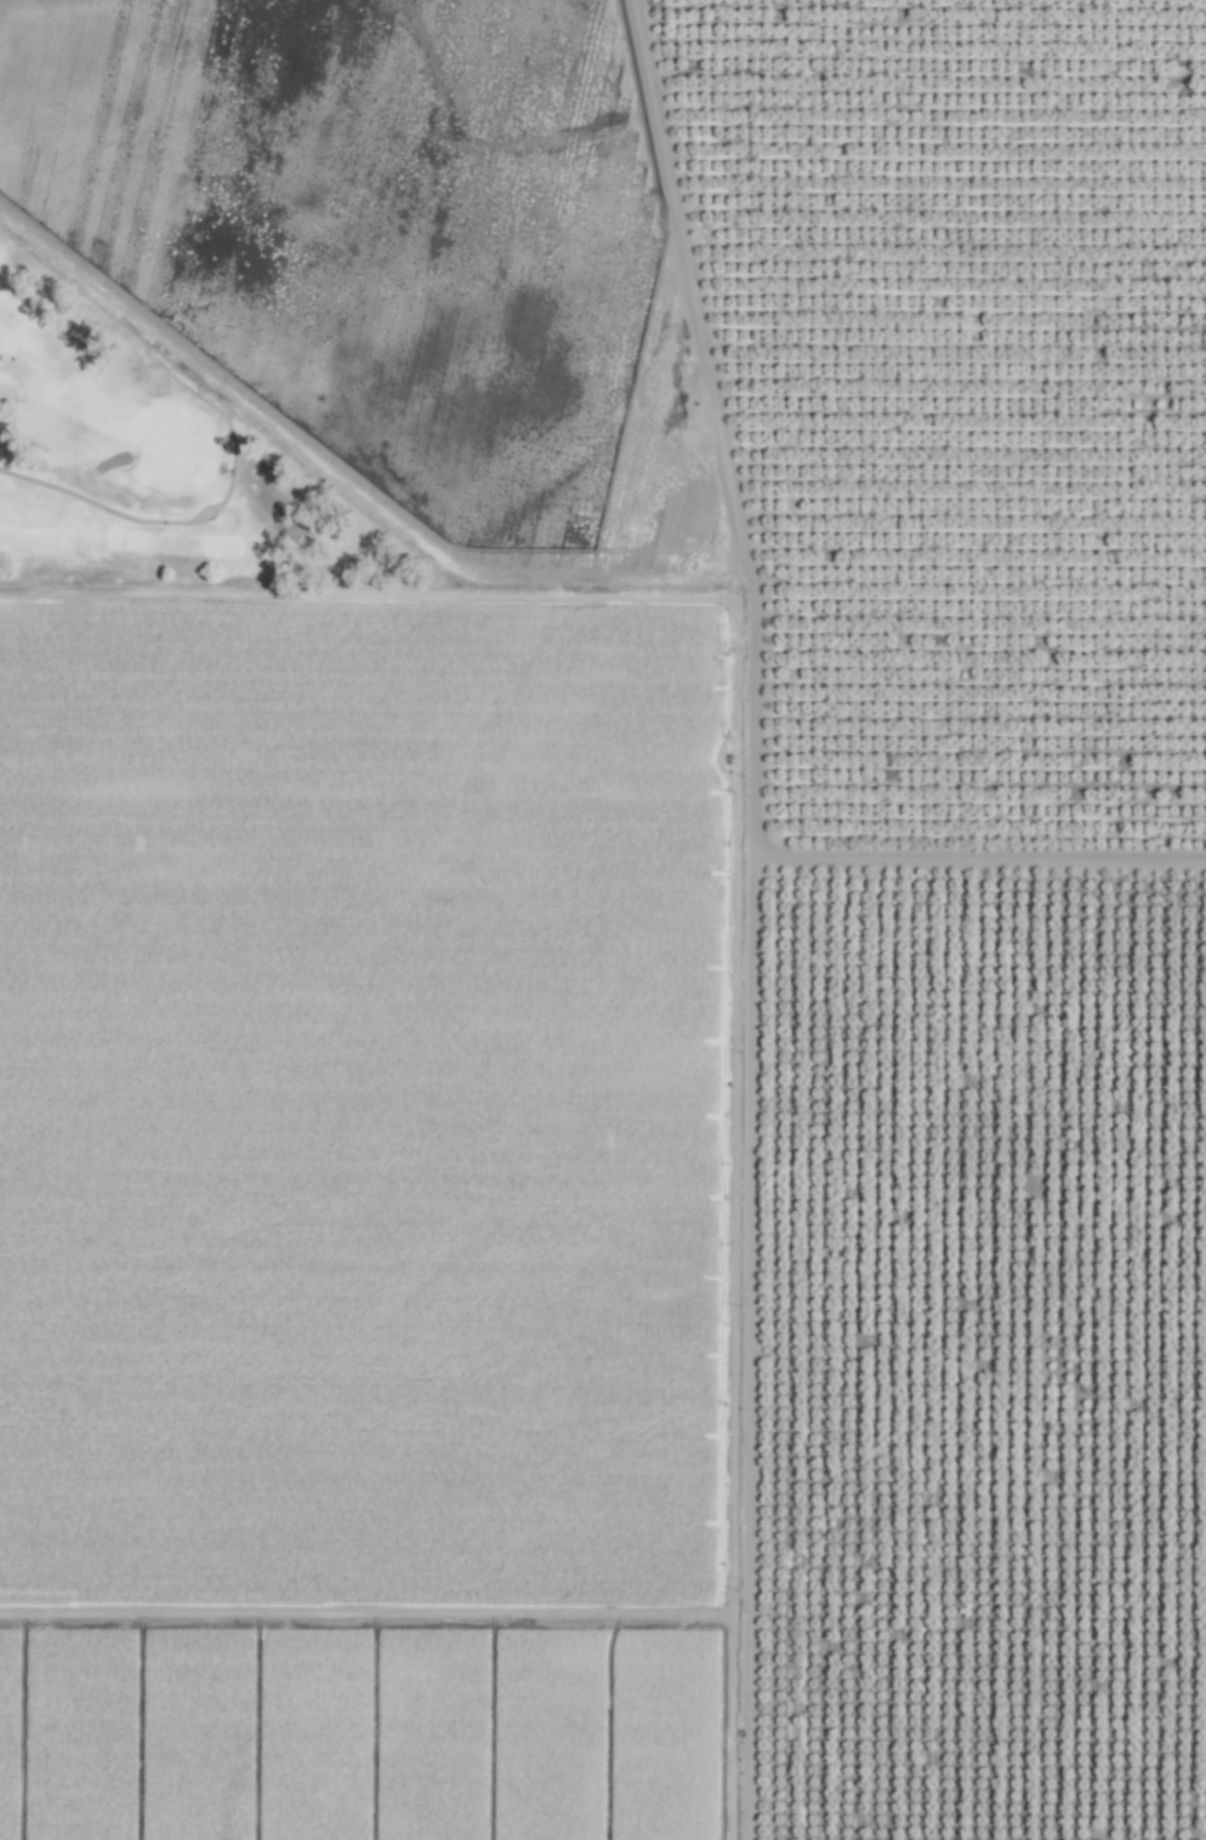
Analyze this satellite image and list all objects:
park: (170, 497)
crop: (622, 941)

